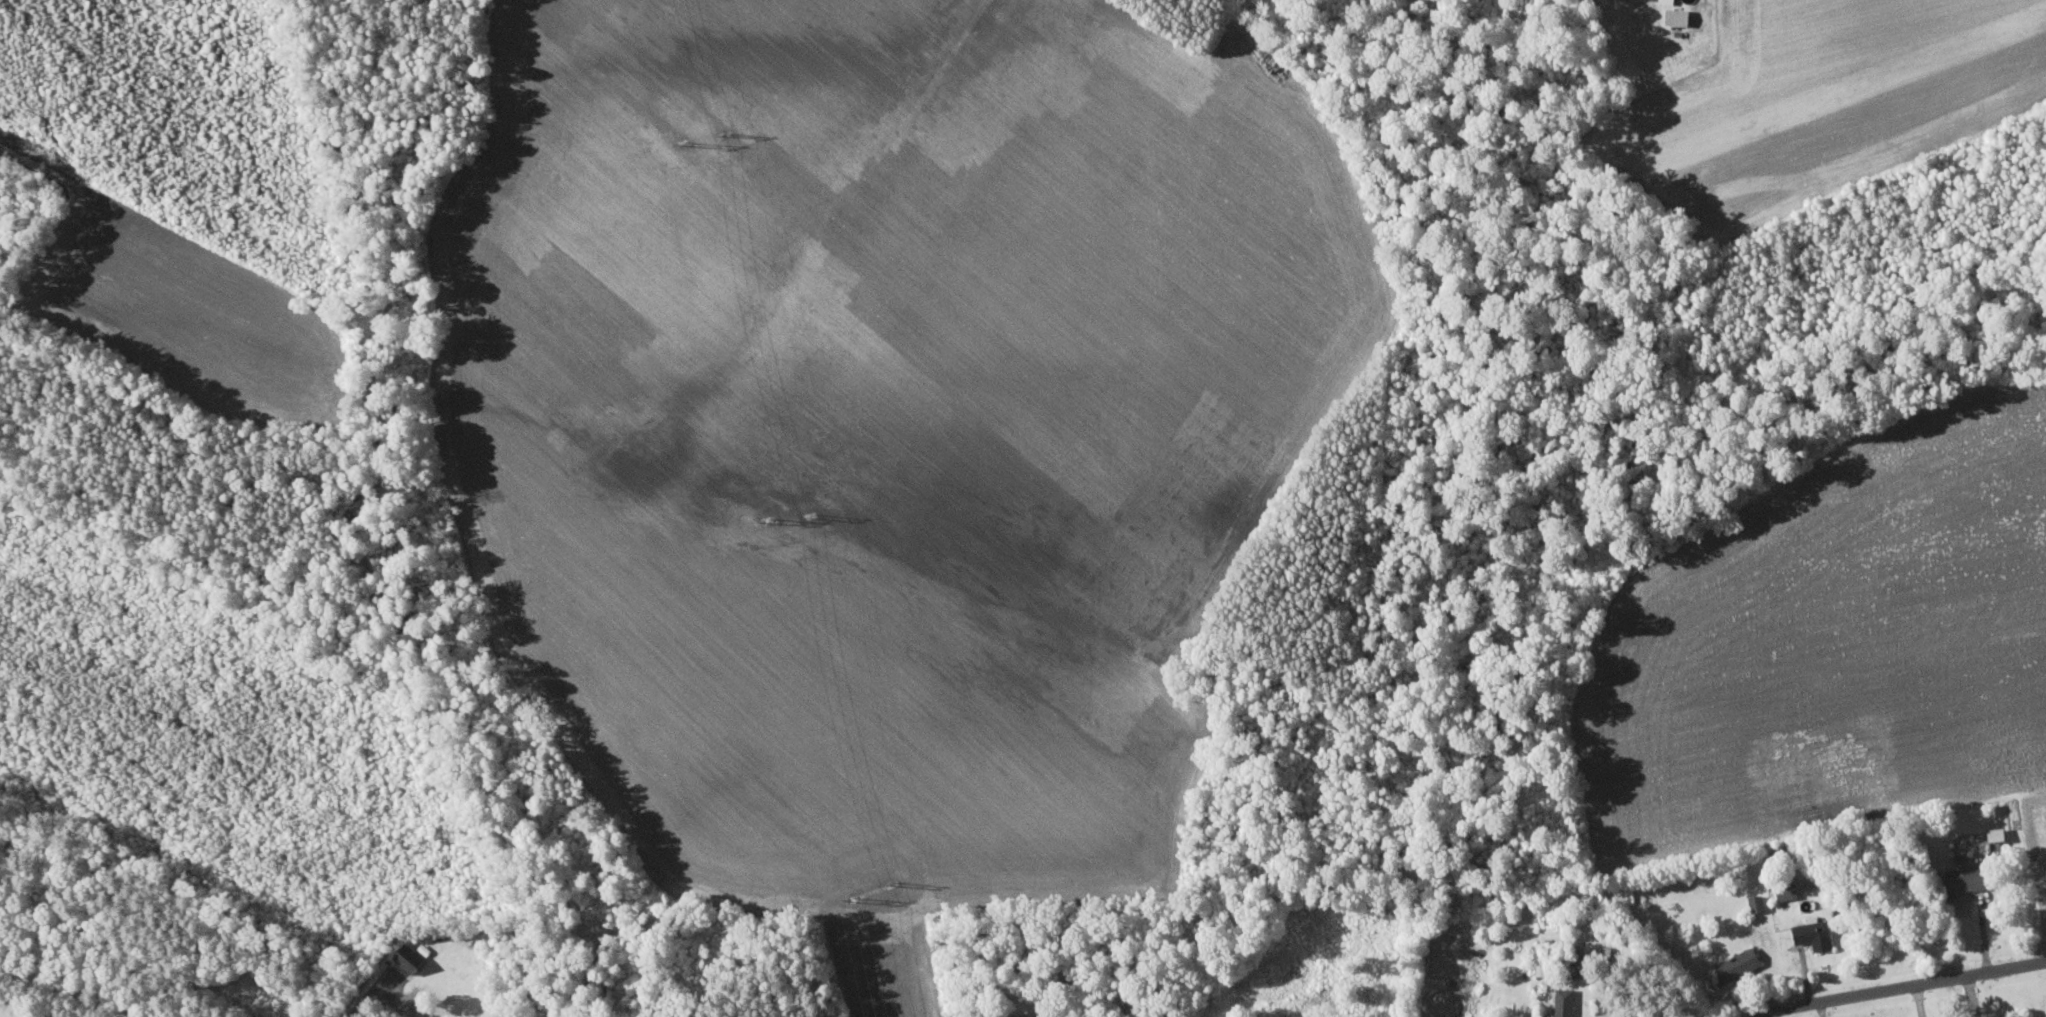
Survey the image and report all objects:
building: (1667, 1)
power tower: (728, 135)
power tower: (685, 141)
power tower: (814, 516)
power tower: (769, 520)
building: (1993, 837)
building: (2045, 867)
building: (1957, 878)
power tower: (894, 884)
power tower: (855, 897)
building: (1754, 902)
building: (1809, 932)
building: (411, 957)
building: (1590, 964)
building: (1731, 965)
building: (1543, 968)
road: (1899, 984)

